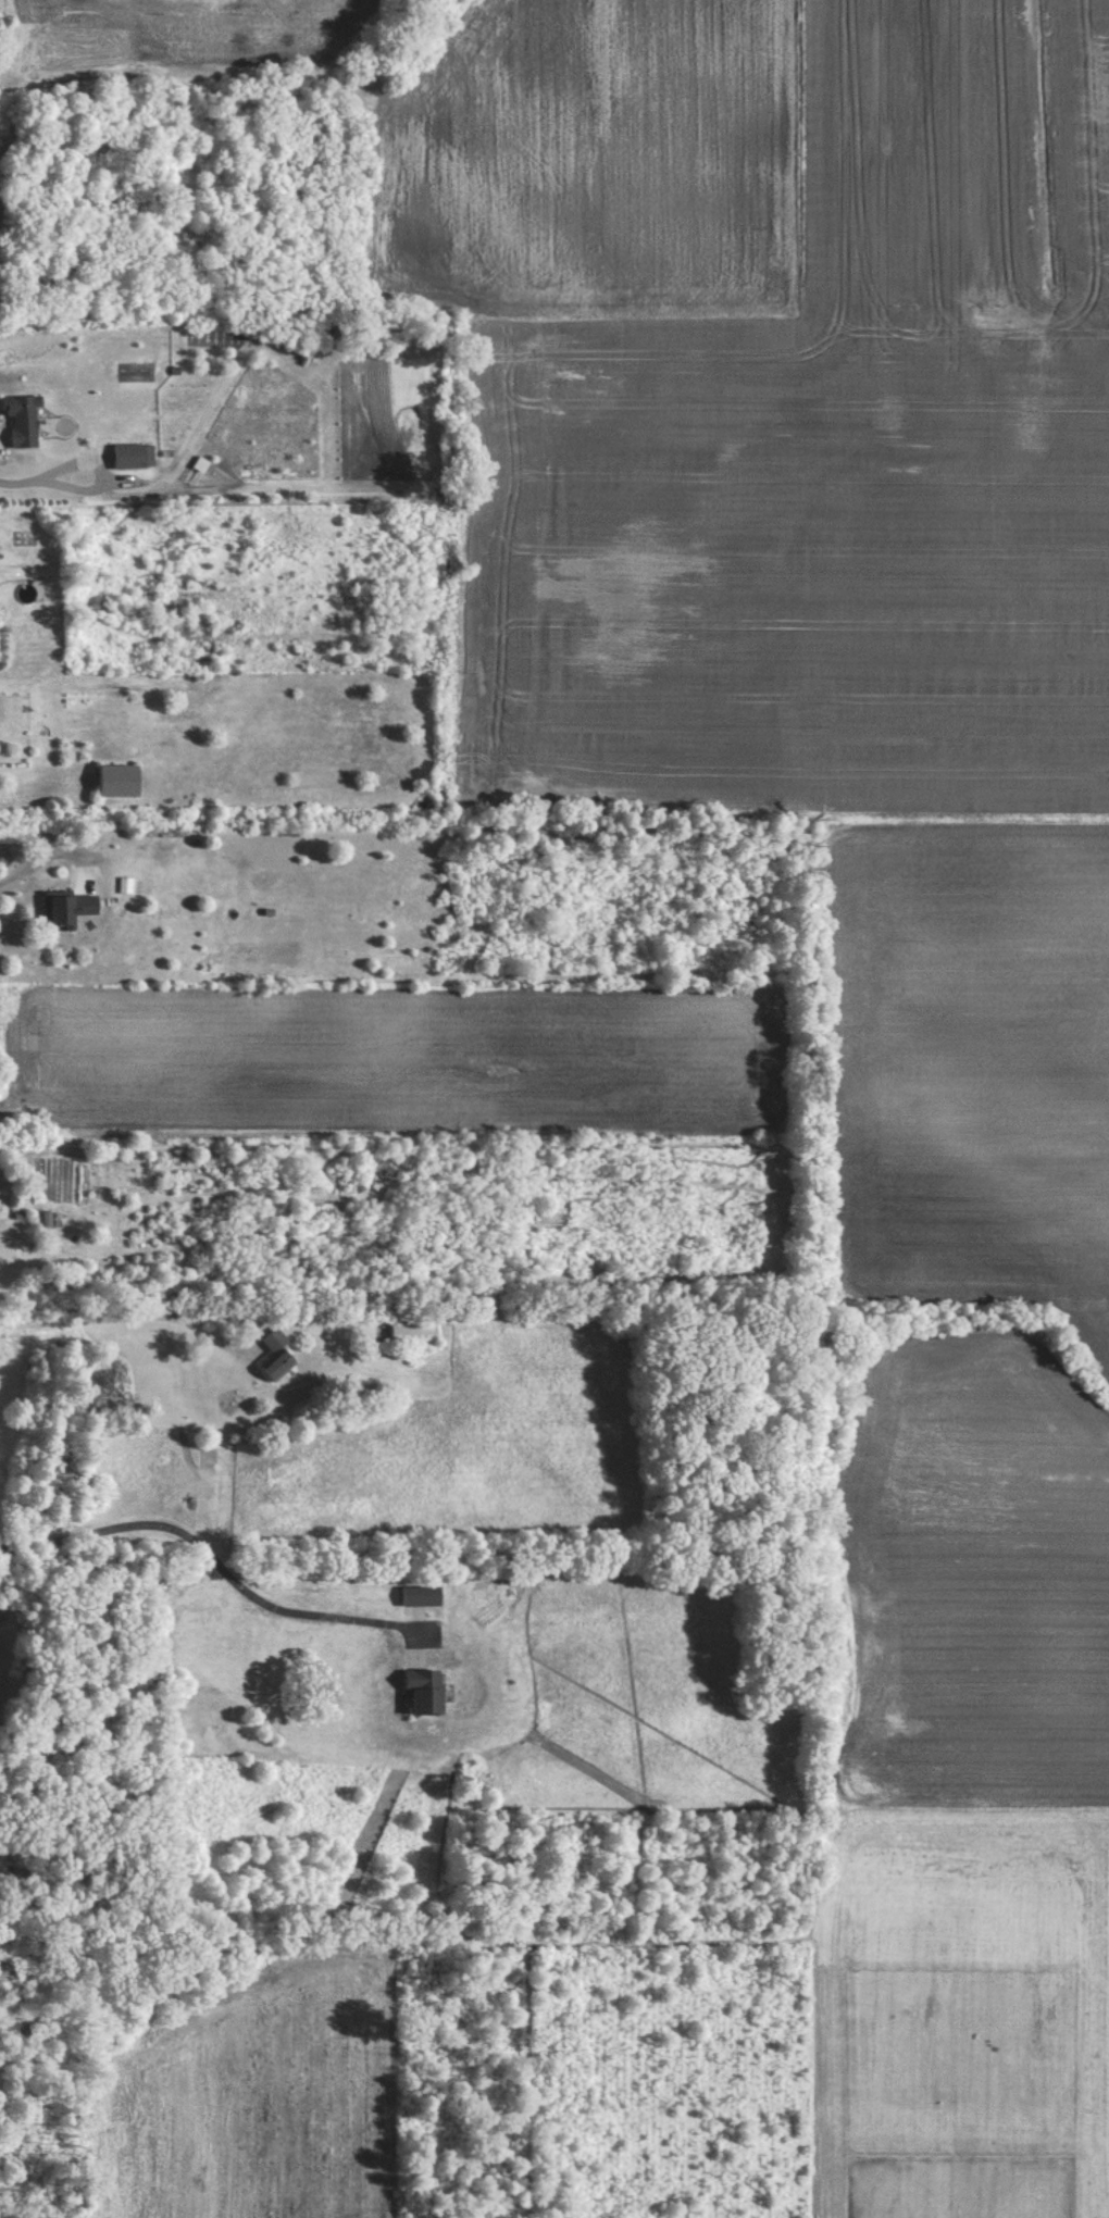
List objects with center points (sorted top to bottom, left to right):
building: (26, 419)
building: (135, 456)
building: (122, 780)
road: (40, 857)
building: (70, 909)
building: (415, 1333)
building: (281, 1353)
road: (210, 1571)
building: (423, 1594)
building: (428, 1690)

